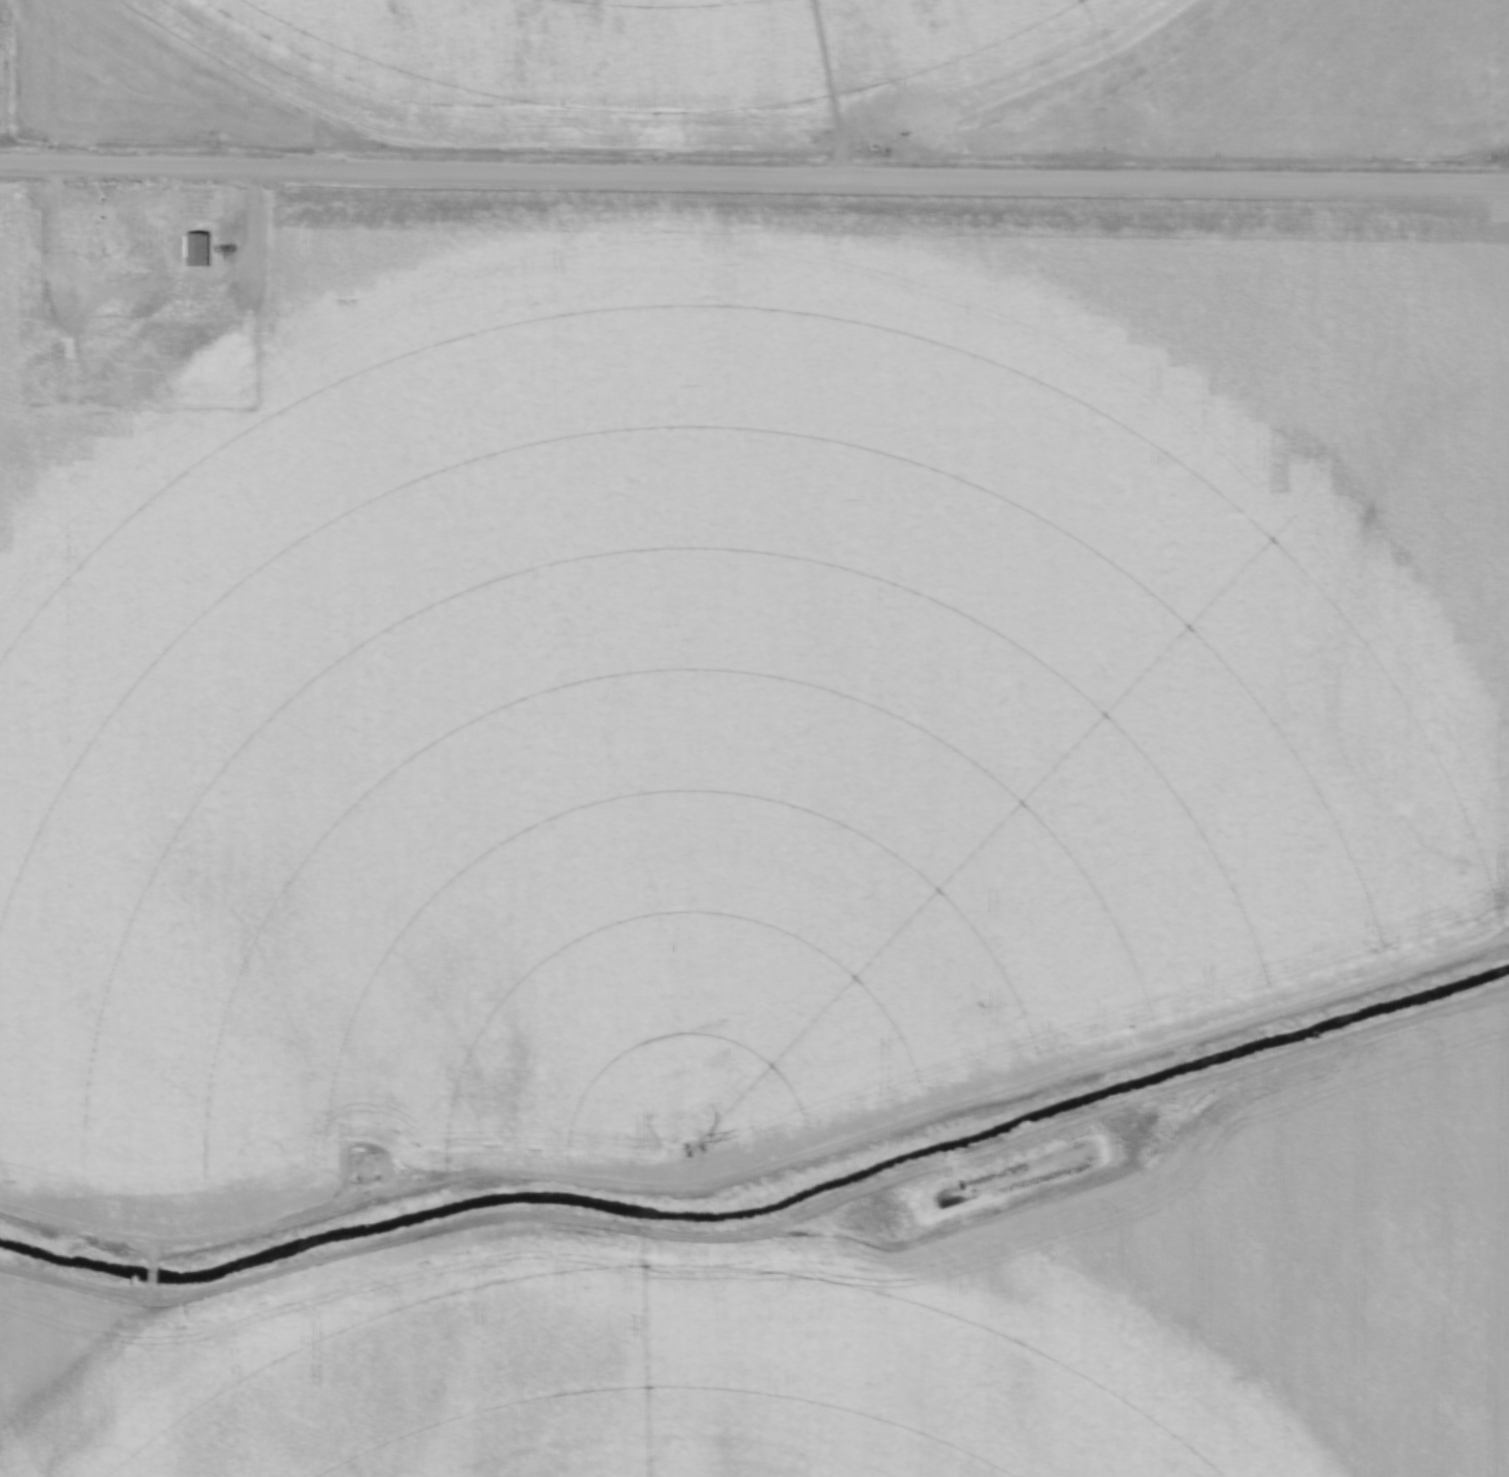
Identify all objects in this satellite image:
crop: (780, 74)
road: (754, 175)
building: (76, 244)
building: (197, 249)
building: (138, 267)
road: (142, 307)
building: (144, 386)
crop: (735, 676)
road: (762, 1163)
road: (834, 1198)
road: (152, 1254)
road: (152, 1273)
crop: (874, 1325)

